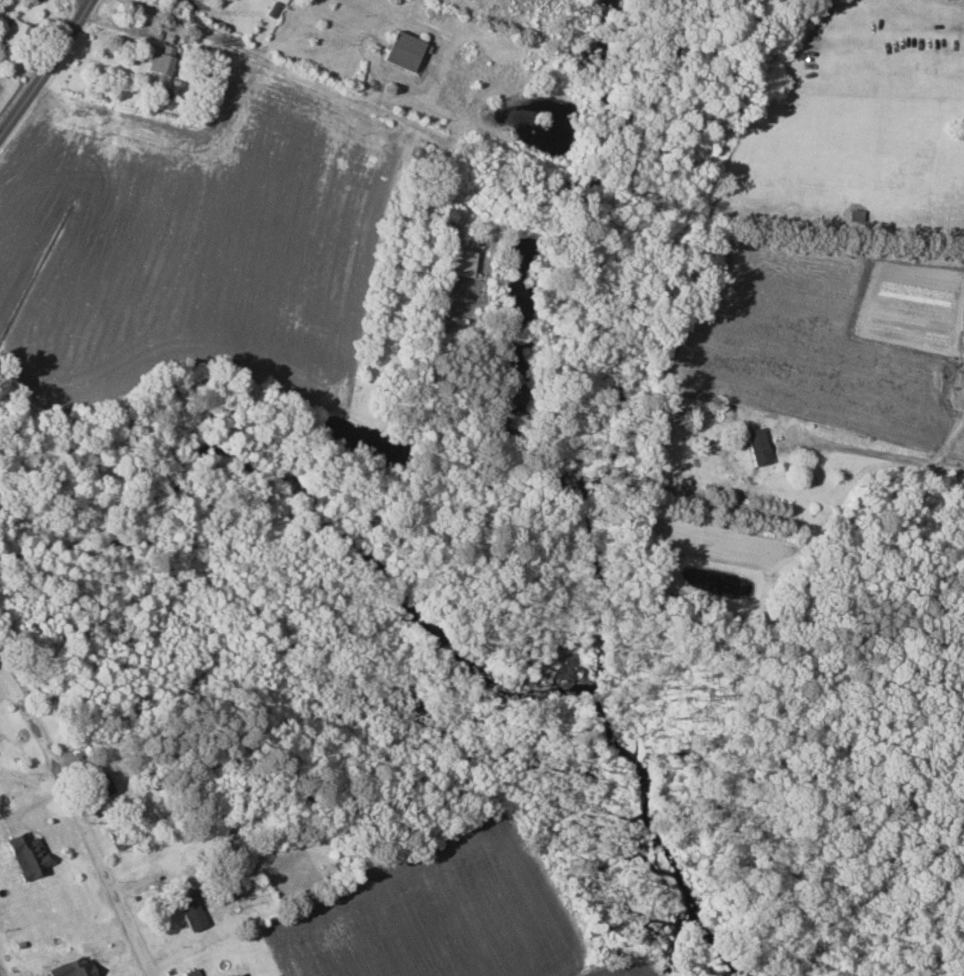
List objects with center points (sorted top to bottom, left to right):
building: (13, 31)
building: (401, 51)
building: (158, 70)
road: (48, 71)
road: (304, 77)
building: (460, 262)
building: (757, 446)
road: (880, 454)
road: (83, 814)
building: (26, 854)
building: (226, 890)
building: (190, 911)
building: (71, 968)
building: (189, 973)
building: (241, 974)

